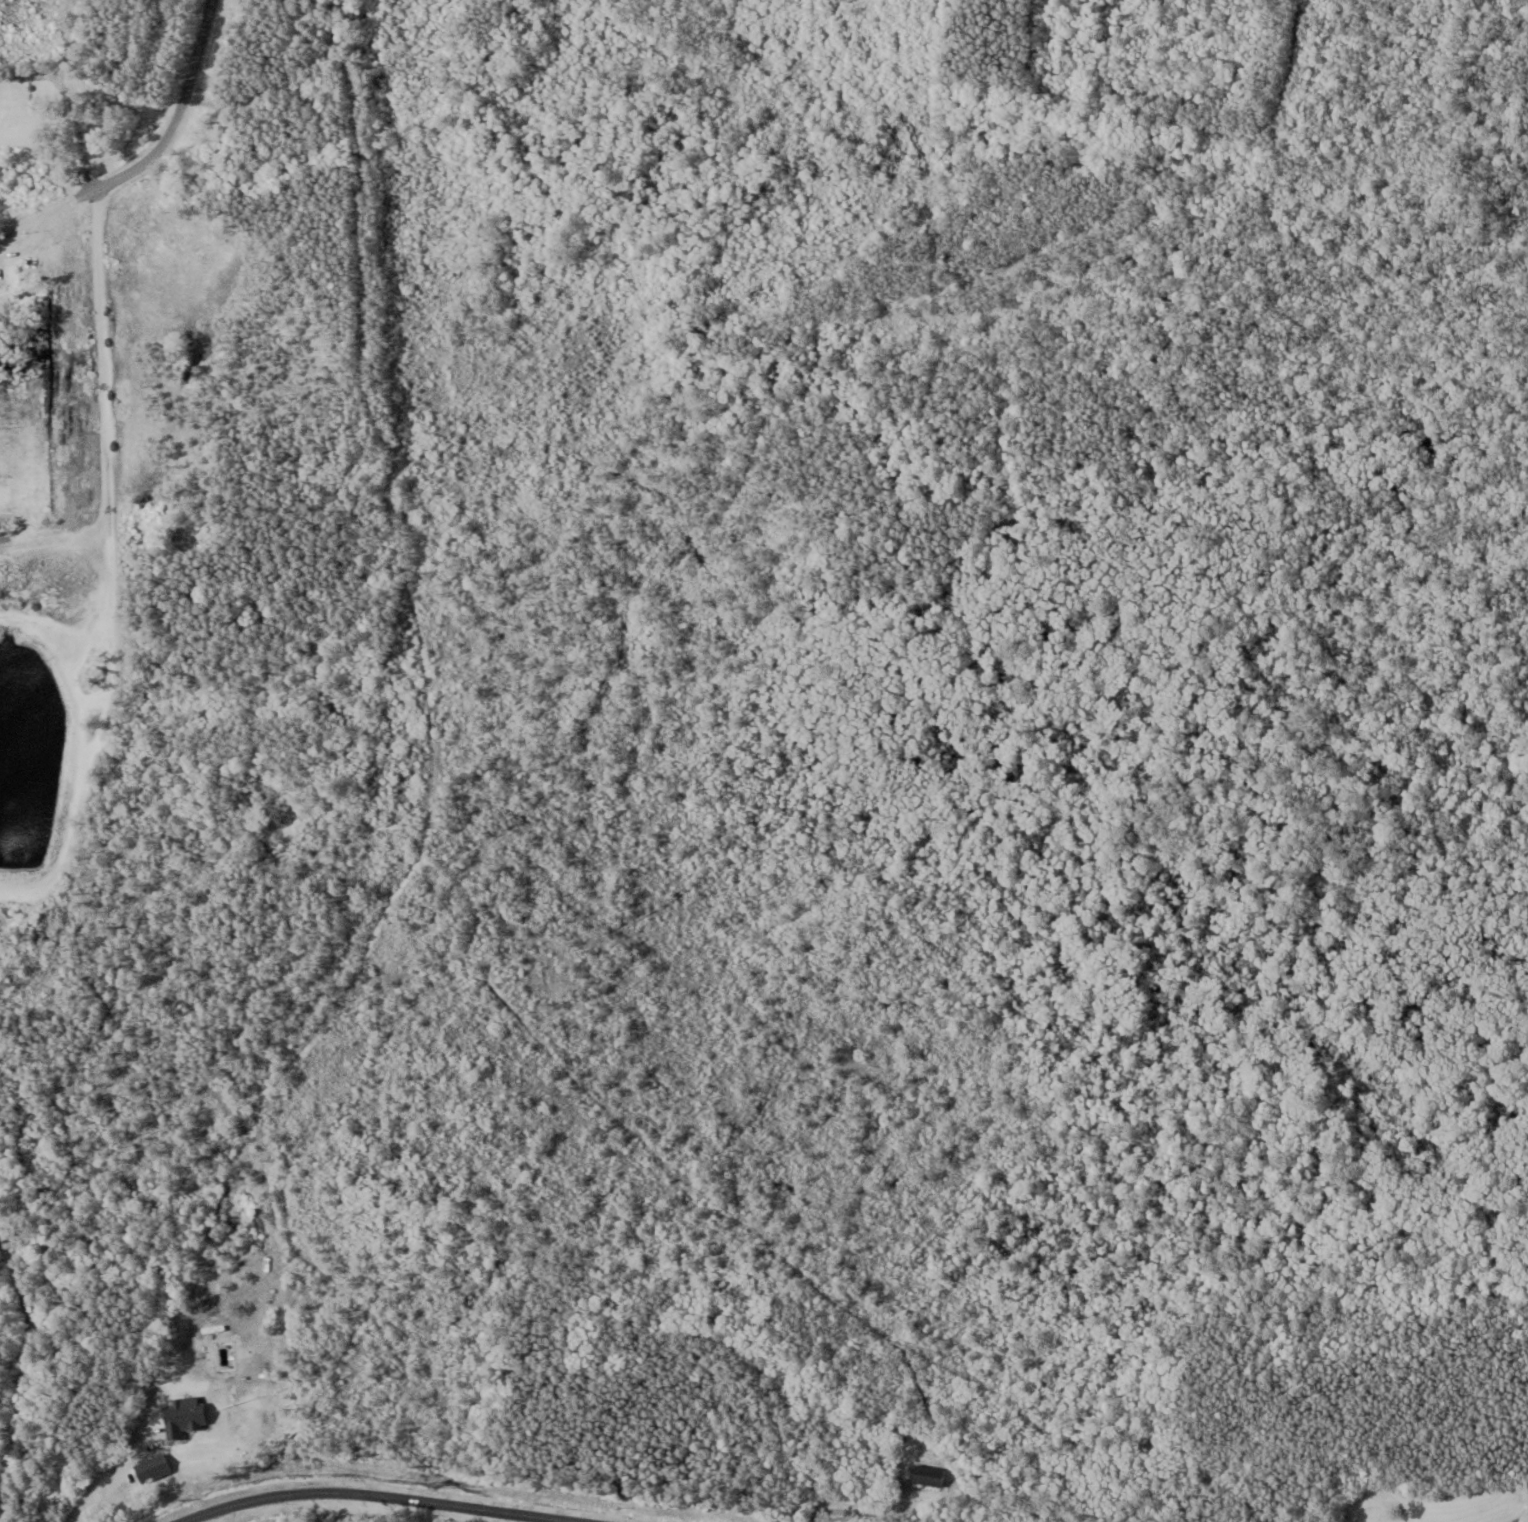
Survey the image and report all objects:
road: (413, 0)
road: (71, 106)
road: (169, 134)
building: (36, 184)
building: (928, 1473)
road: (375, 1497)
building: (84, 1509)

